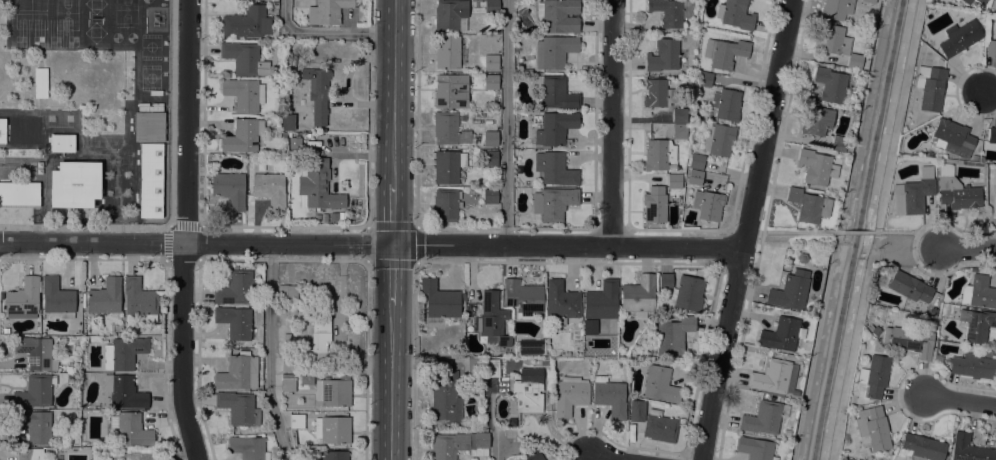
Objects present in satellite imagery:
building: (867, 1)
building: (965, 1)
building: (981, 1)
building: (492, 6)
building: (685, 9)
building: (836, 9)
building: (328, 11)
building: (667, 12)
building: (736, 14)
building: (451, 15)
building: (559, 15)
building: (247, 22)
road: (325, 30)
building: (959, 37)
building: (837, 44)
building: (991, 48)
building: (554, 51)
building: (450, 52)
building: (724, 52)
building: (663, 55)
building: (244, 58)
building: (285, 59)
building: (491, 62)
building: (704, 79)
building: (490, 81)
building: (40, 83)
building: (830, 84)
building: (930, 86)
road: (395, 92)
building: (448, 92)
building: (556, 92)
building: (317, 93)
building: (657, 93)
building: (244, 94)
road: (990, 95)
building: (726, 104)
road: (368, 113)
road: (417, 113)
building: (679, 115)
building: (462, 116)
building: (816, 120)
building: (149, 122)
building: (287, 122)
road: (504, 122)
road: (613, 122)
building: (555, 127)
building: (449, 129)
building: (322, 130)
building: (19, 131)
building: (679, 131)
building: (243, 135)
building: (283, 135)
building: (991, 135)
building: (491, 138)
building: (953, 138)
building: (719, 139)
building: (61, 142)
building: (837, 143)
building: (294, 144)
building: (658, 154)
building: (974, 157)
building: (490, 158)
building: (696, 161)
building: (448, 166)
building: (815, 166)
building: (555, 168)
building: (695, 177)
building: (150, 180)
building: (674, 181)
building: (995, 183)
building: (74, 184)
building: (317, 184)
building: (270, 188)
building: (229, 189)
building: (956, 190)
building: (915, 191)
building: (19, 194)
building: (490, 196)
building: (553, 203)
building: (655, 204)
building: (708, 204)
building: (445, 205)
building: (808, 205)
road: (393, 213)
building: (332, 216)
building: (303, 217)
building: (995, 225)
road: (746, 229)
road: (184, 230)
road: (876, 230)
road: (793, 232)
road: (857, 232)
road: (907, 232)
road: (196, 243)
traffic signals: (393, 244)
road: (568, 244)
road: (968, 246)
building: (801, 258)
road: (418, 261)
road: (393, 275)
building: (665, 280)
building: (909, 287)
building: (235, 288)
building: (790, 290)
building: (287, 291)
building: (979, 292)
building: (687, 293)
building: (638, 295)
building: (105, 296)
building: (57, 297)
building: (522, 297)
building: (23, 299)
building: (139, 299)
building: (440, 300)
building: (561, 300)
building: (601, 301)
road: (366, 310)
building: (933, 312)
building: (235, 322)
building: (494, 322)
building: (975, 323)
building: (872, 330)
building: (780, 334)
building: (672, 335)
building: (318, 338)
building: (286, 339)
building: (909, 340)
building: (529, 347)
building: (36, 352)
building: (124, 353)
road: (266, 353)
building: (938, 359)
road: (417, 361)
building: (288, 363)
building: (973, 363)
building: (542, 368)
building: (491, 369)
building: (474, 371)
building: (238, 372)
building: (524, 373)
building: (876, 374)
building: (774, 378)
building: (306, 379)
road: (392, 383)
building: (288, 384)
building: (660, 384)
building: (35, 391)
building: (124, 391)
building: (332, 391)
building: (570, 394)
building: (527, 395)
building: (445, 396)
building: (610, 396)
road: (958, 398)
building: (851, 399)
building: (239, 407)
building: (637, 410)
building: (764, 417)
building: (297, 421)
building: (35, 425)
building: (660, 426)
building: (872, 428)
building: (131, 429)
building: (333, 430)
building: (456, 444)
road: (497, 446)
building: (248, 447)
building: (923, 447)
building: (755, 448)
building: (969, 449)
building: (30, 454)
building: (334, 455)
building: (537, 457)
road: (607, 457)
building: (883, 457)

